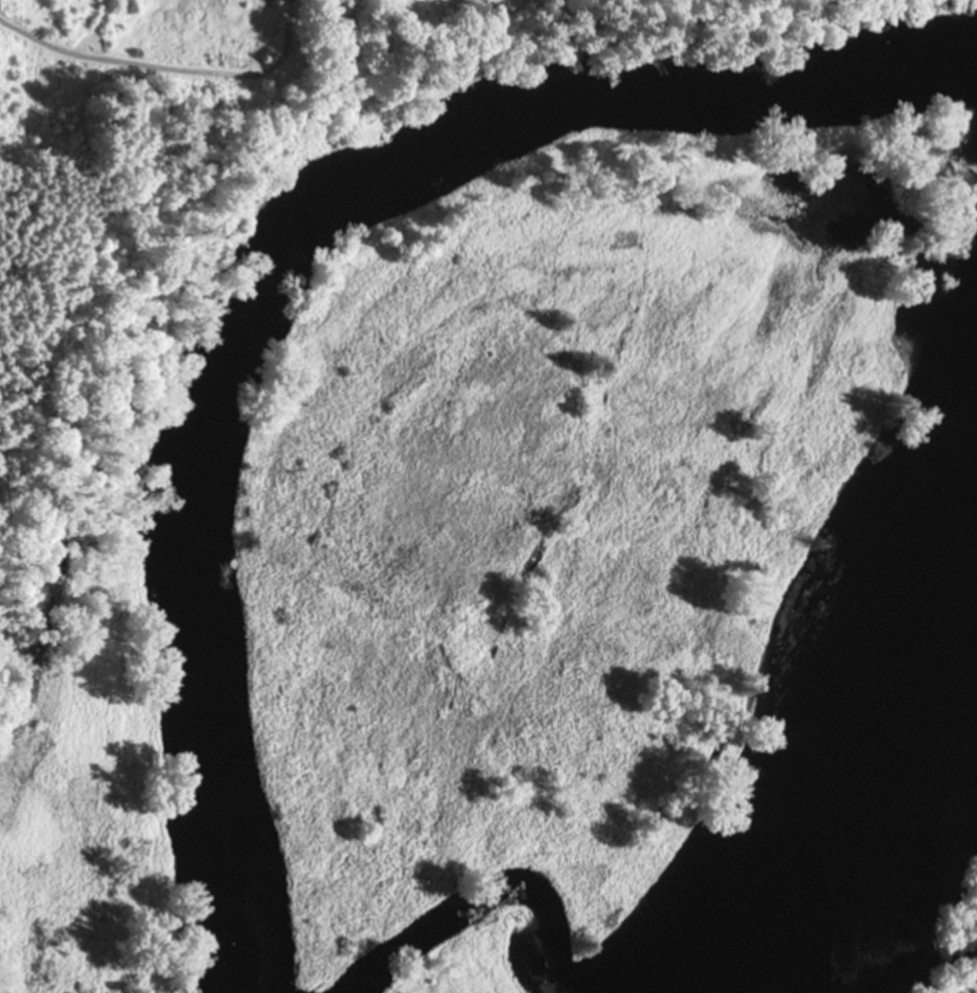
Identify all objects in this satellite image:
road: (171, 68)
park: (202, 373)
river: (851, 856)

